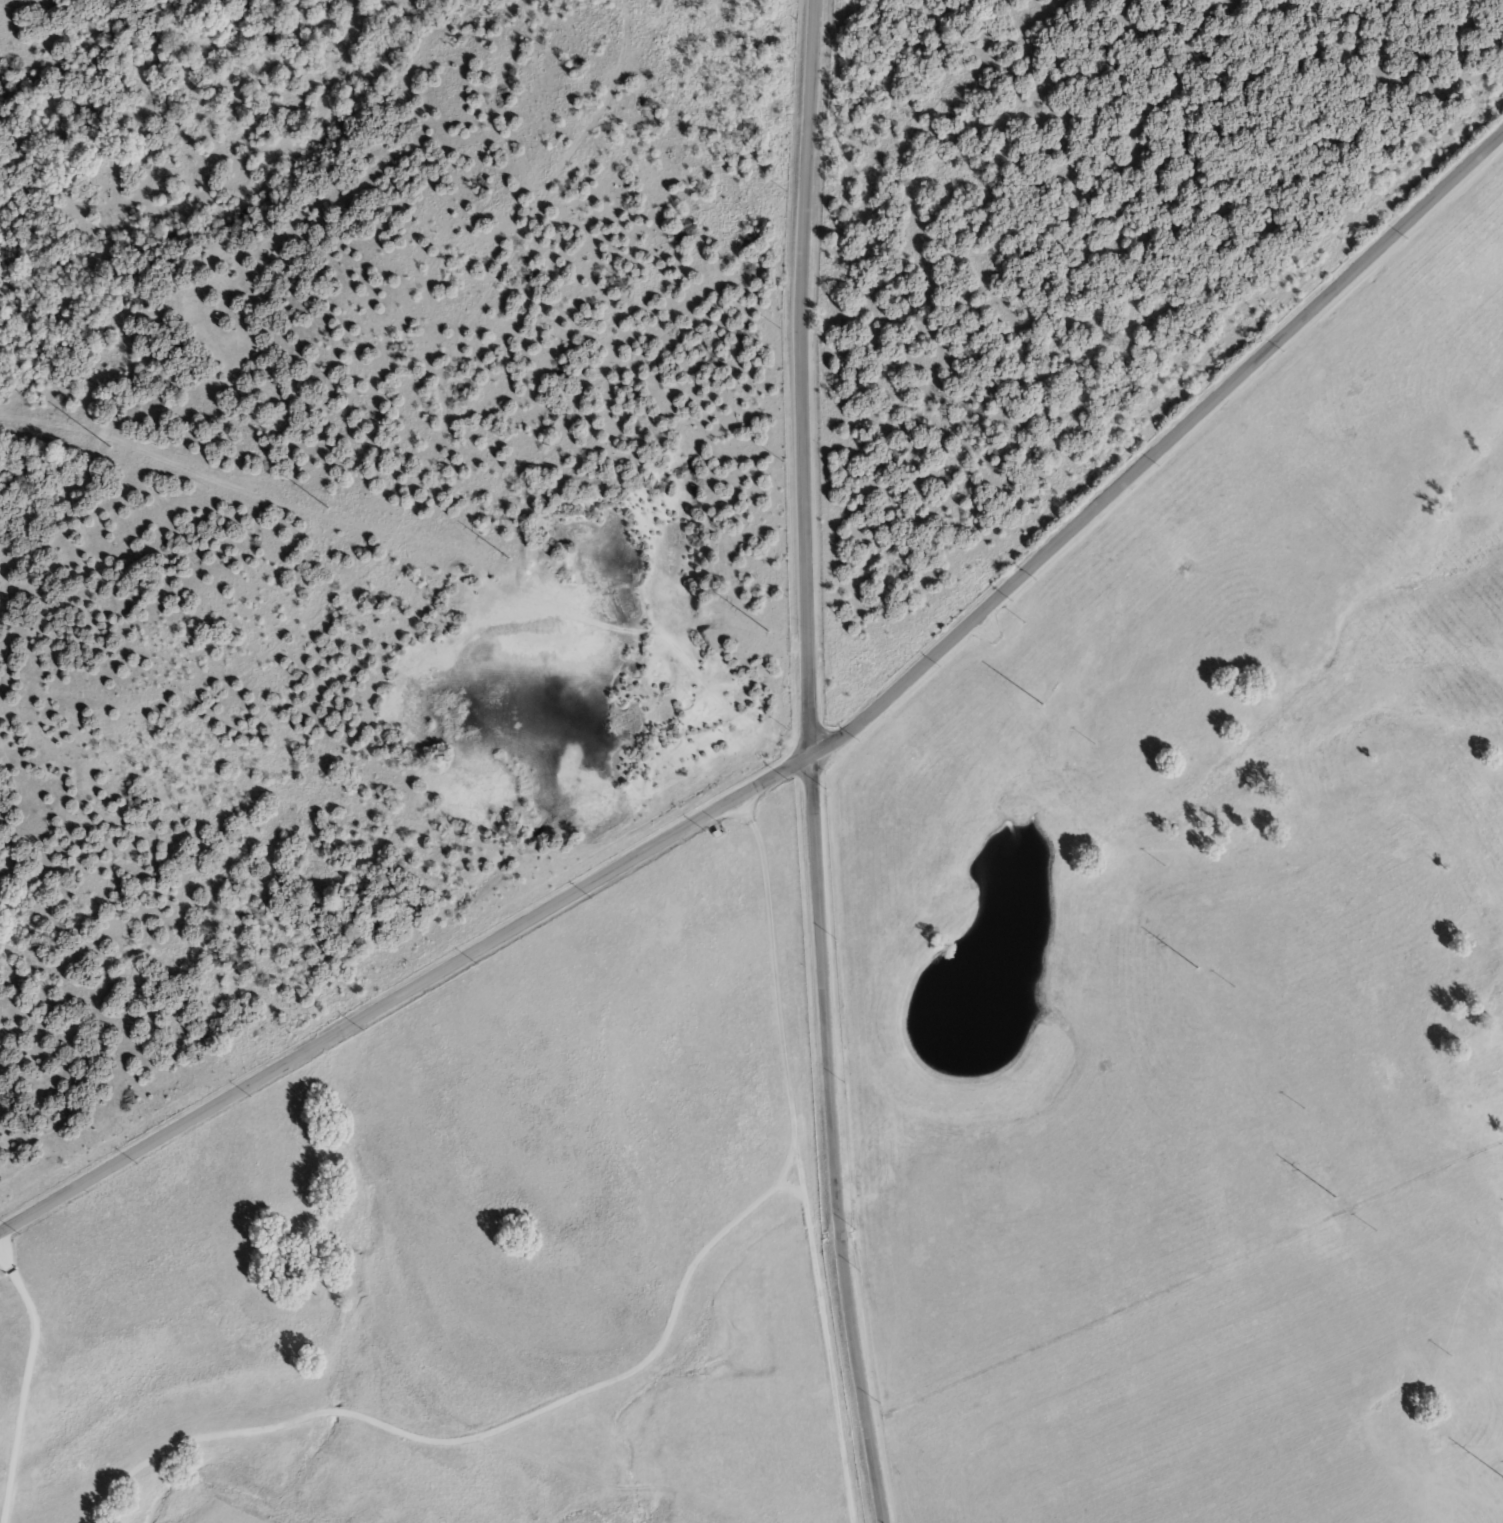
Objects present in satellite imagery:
road: (802, 376)
road: (806, 755)
road: (834, 1139)
road: (801, 1157)
road: (788, 1166)
road: (29, 1374)
road: (483, 1433)

